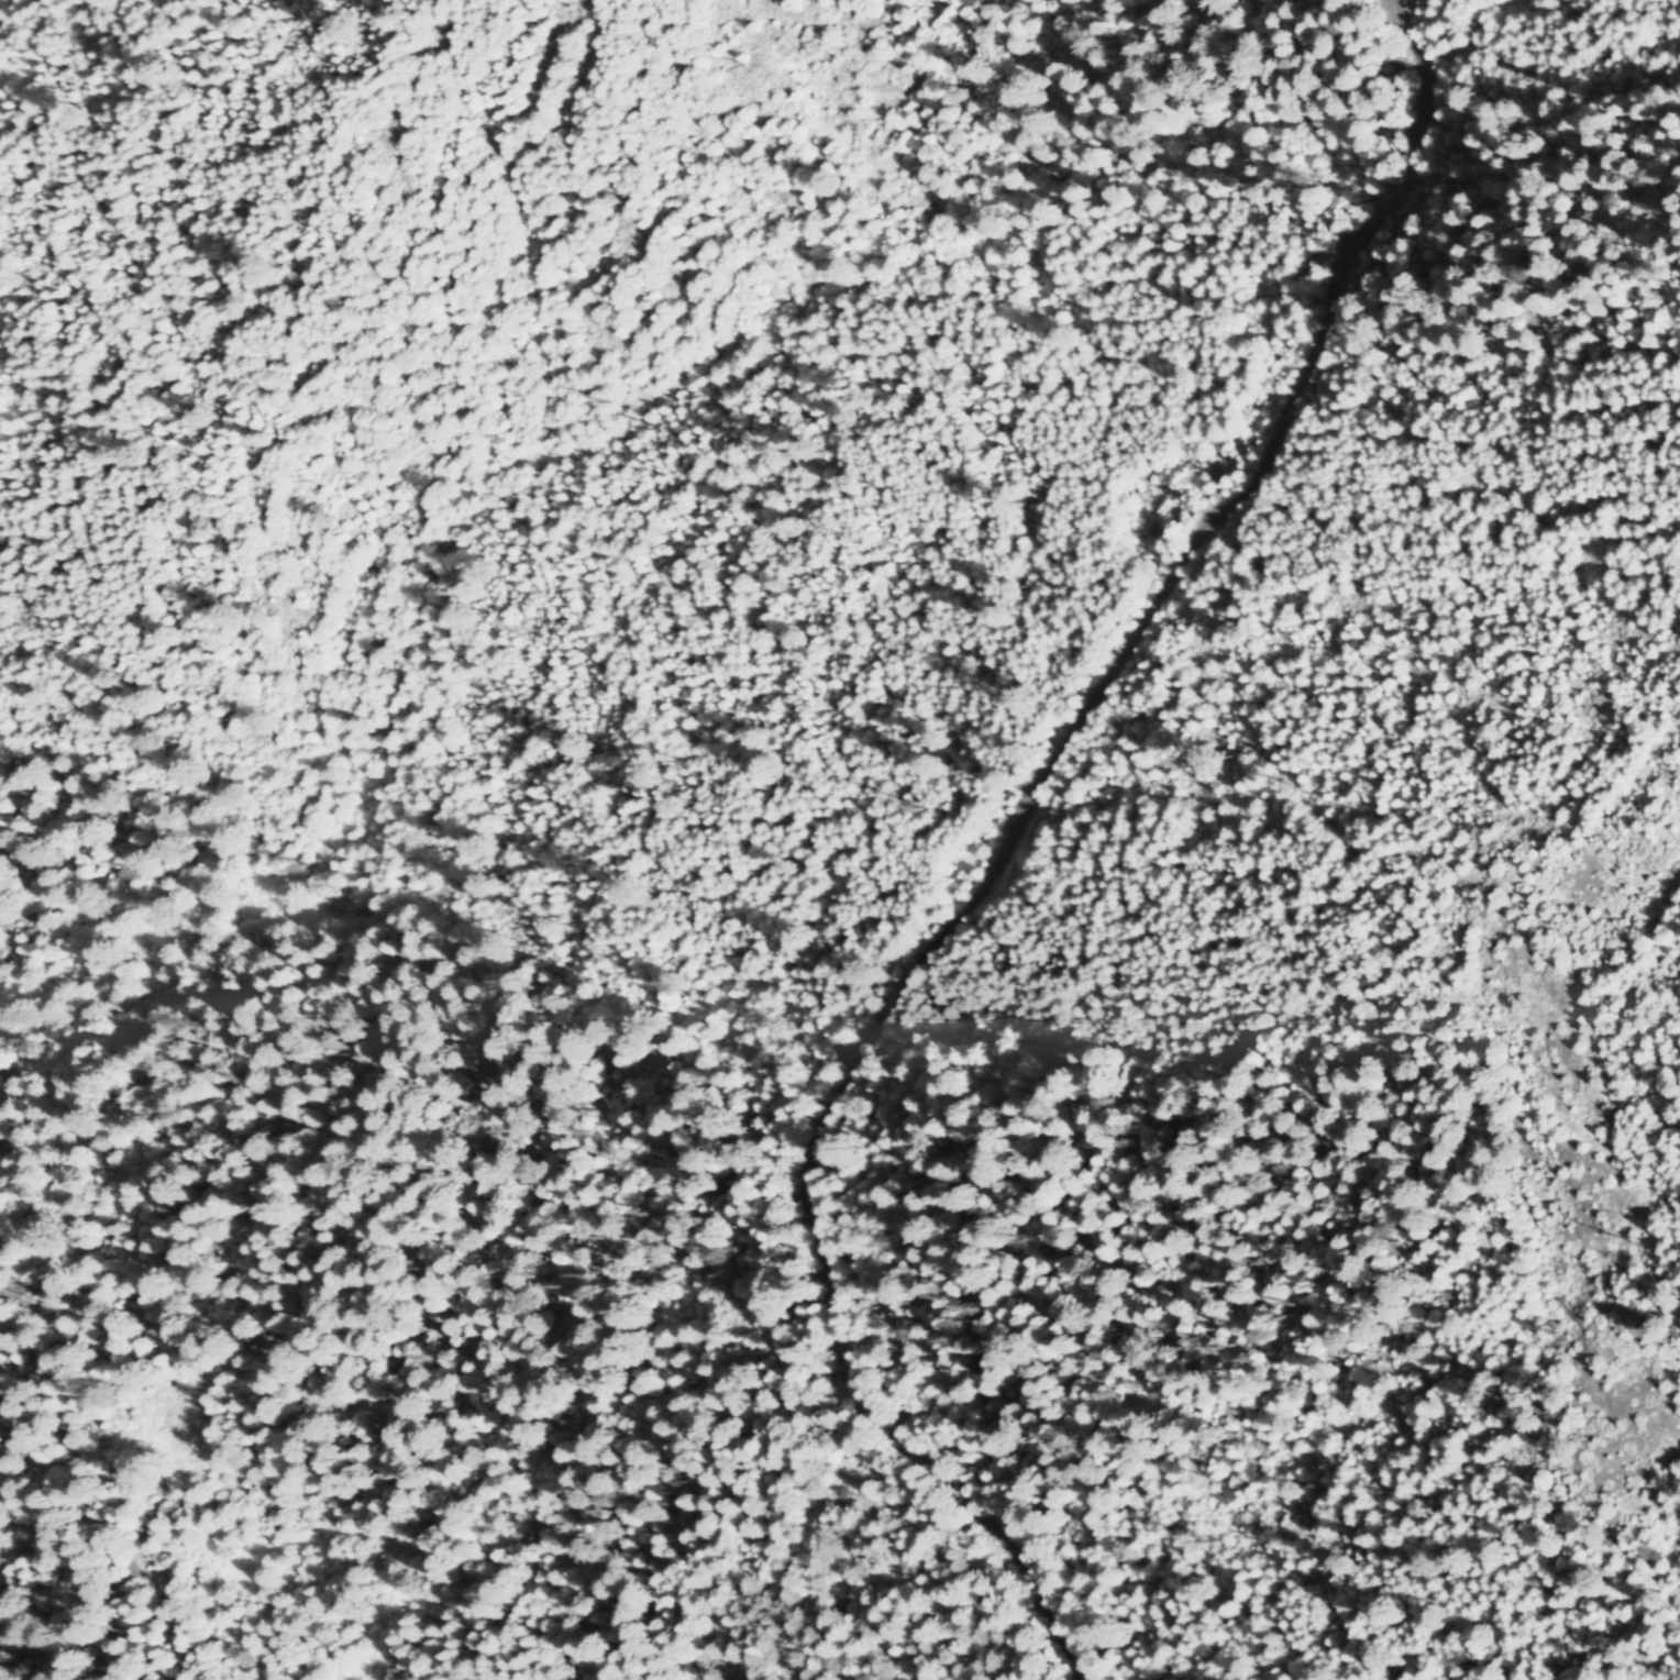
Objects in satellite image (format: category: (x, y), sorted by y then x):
road: (988, 849)

